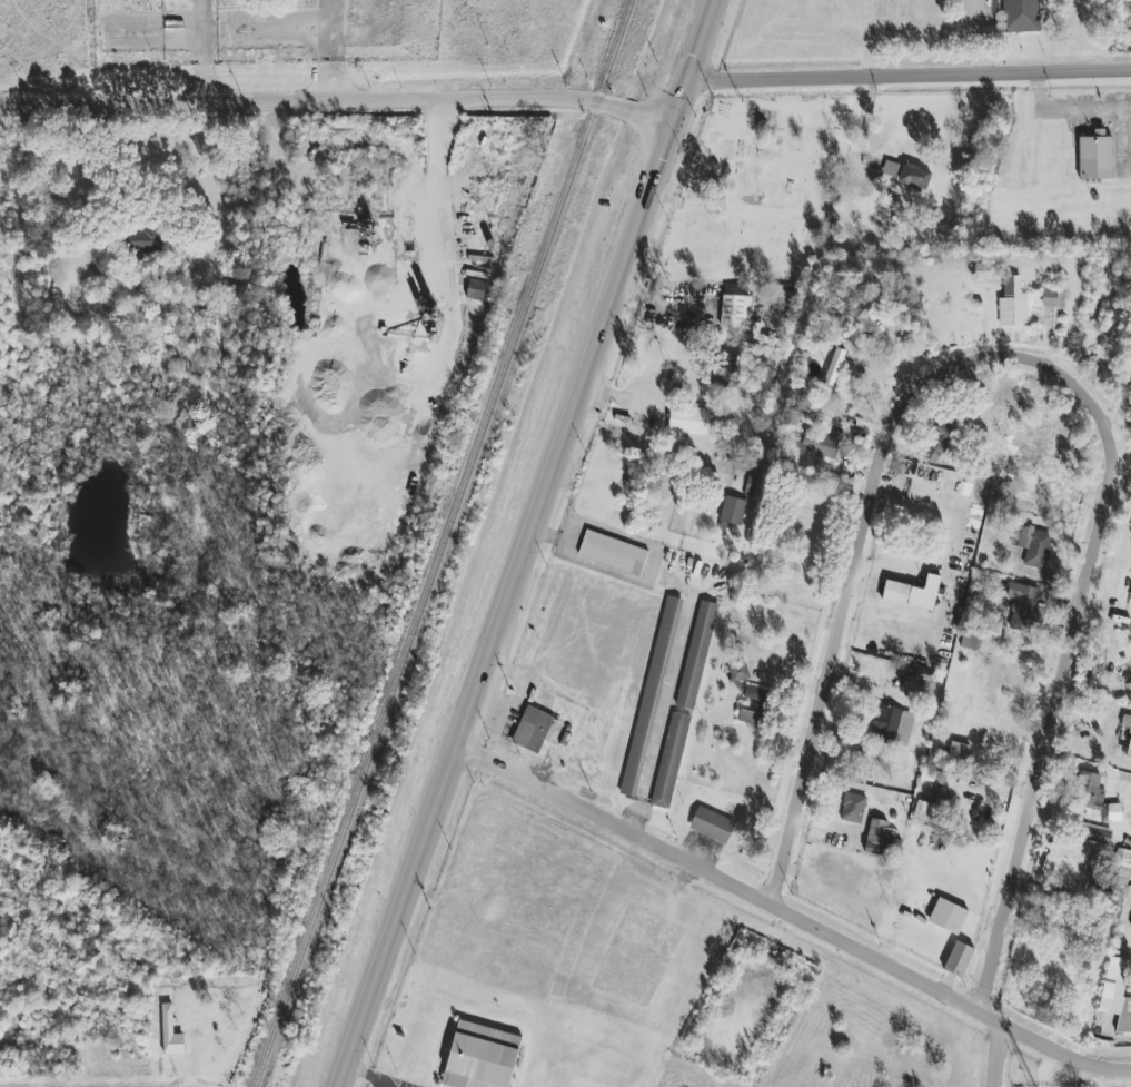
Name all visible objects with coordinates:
building: (1127, 12)
building: (1021, 16)
road: (982, 36)
road: (909, 73)
road: (337, 103)
building: (1095, 156)
building: (914, 177)
road: (438, 188)
park: (757, 189)
building: (147, 239)
building: (475, 289)
building: (1053, 298)
building: (1013, 304)
building: (735, 312)
building: (866, 312)
building: (833, 369)
building: (821, 415)
building: (688, 421)
building: (939, 443)
building: (820, 445)
building: (733, 511)
road: (865, 534)
railway: (442, 542)
road: (529, 544)
building: (1033, 546)
building: (613, 553)
building: (910, 595)
building: (1130, 600)
building: (1023, 606)
building: (738, 672)
road: (1062, 692)
building: (758, 696)
building: (684, 704)
building: (751, 718)
building: (1125, 721)
building: (892, 725)
building: (534, 730)
building: (1129, 750)
building: (959, 751)
building: (934, 777)
building: (1093, 799)
building: (853, 808)
building: (925, 812)
road: (614, 823)
building: (712, 824)
building: (1098, 834)
building: (876, 837)
building: (1121, 868)
building: (948, 917)
building: (959, 959)
road: (931, 986)
building: (1117, 994)
building: (171, 1034)
road: (994, 1054)
building: (480, 1057)
road: (1110, 1068)

